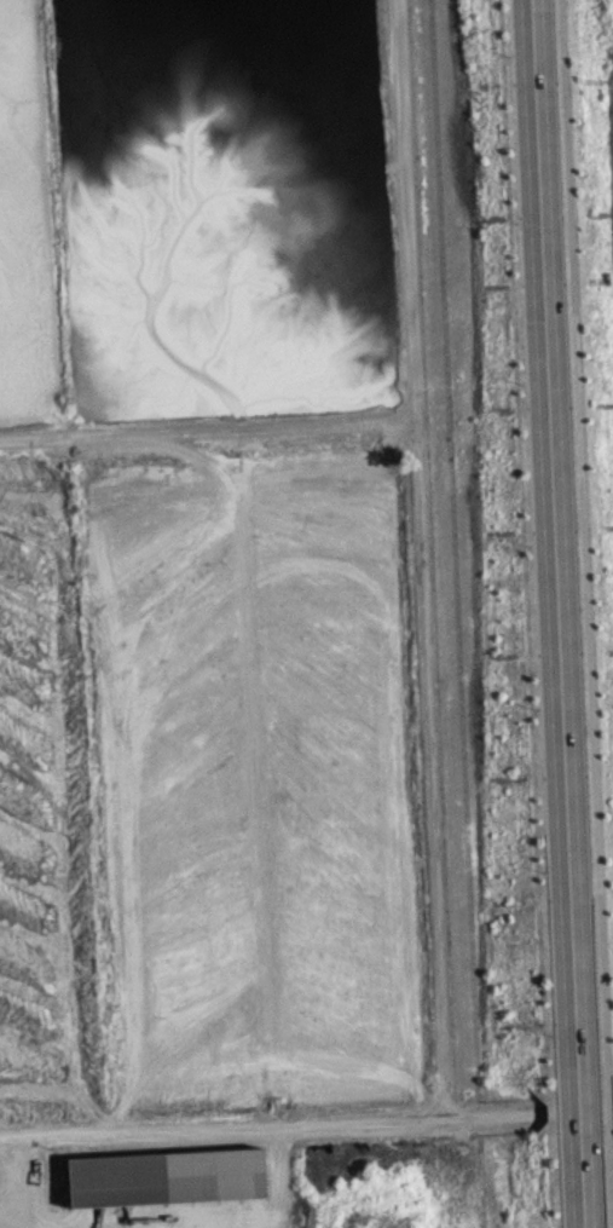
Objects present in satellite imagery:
road: (207, 428)
road: (421, 558)
road: (582, 576)
road: (556, 613)
road: (272, 1124)
building: (169, 1187)
road: (609, 1188)

